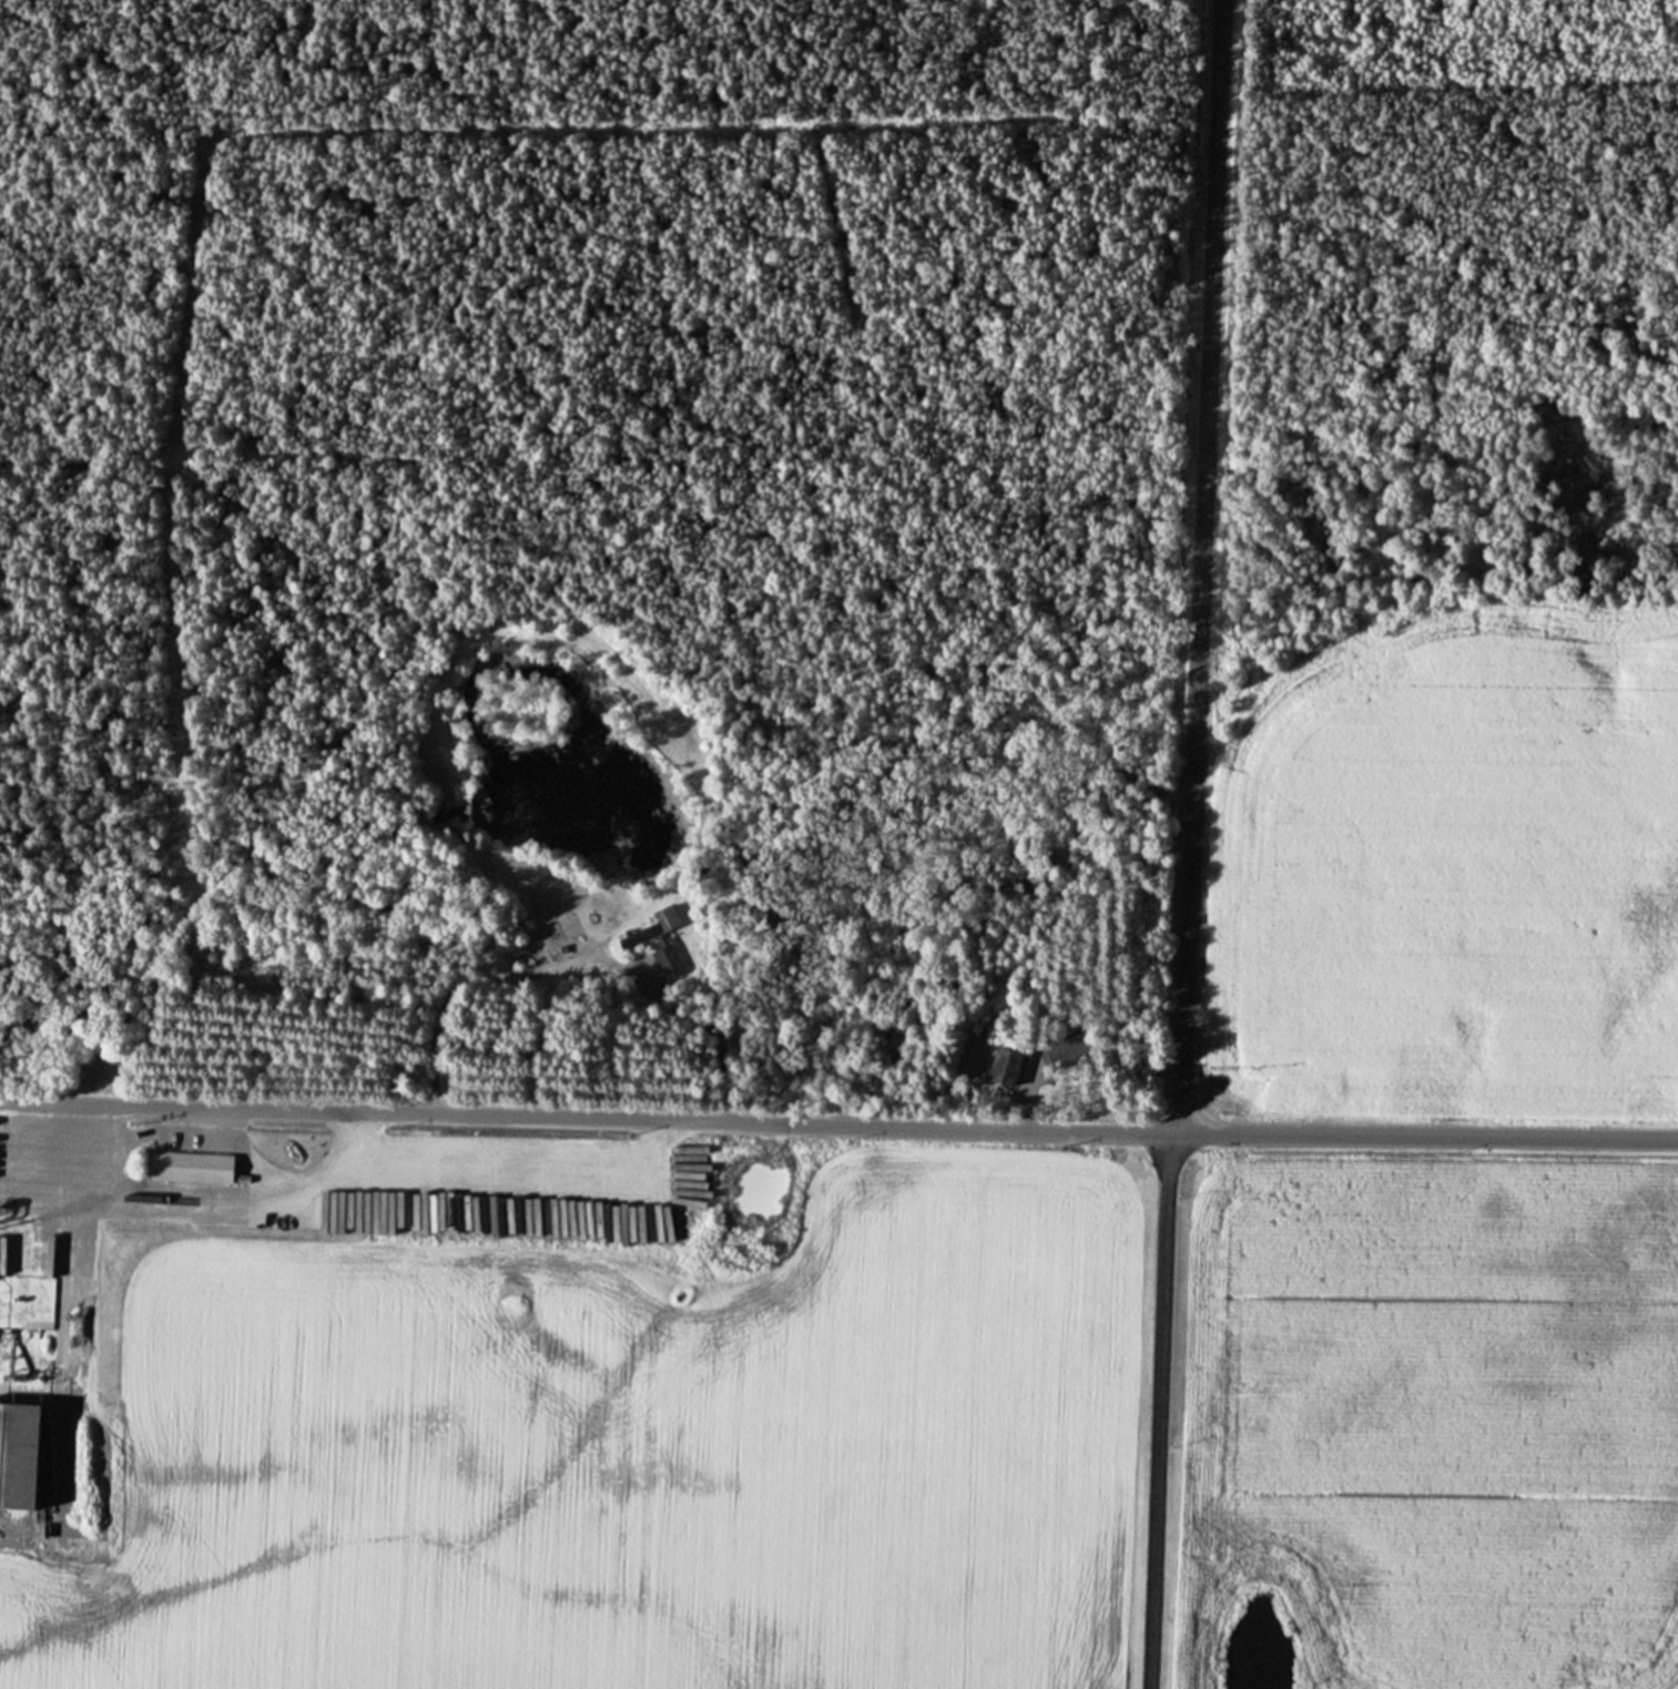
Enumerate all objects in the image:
road: (1201, 559)
building: (654, 939)
road: (456, 990)
building: (1003, 1066)
road: (841, 1126)
building: (189, 1167)
building: (32, 1299)
road: (1159, 1408)

